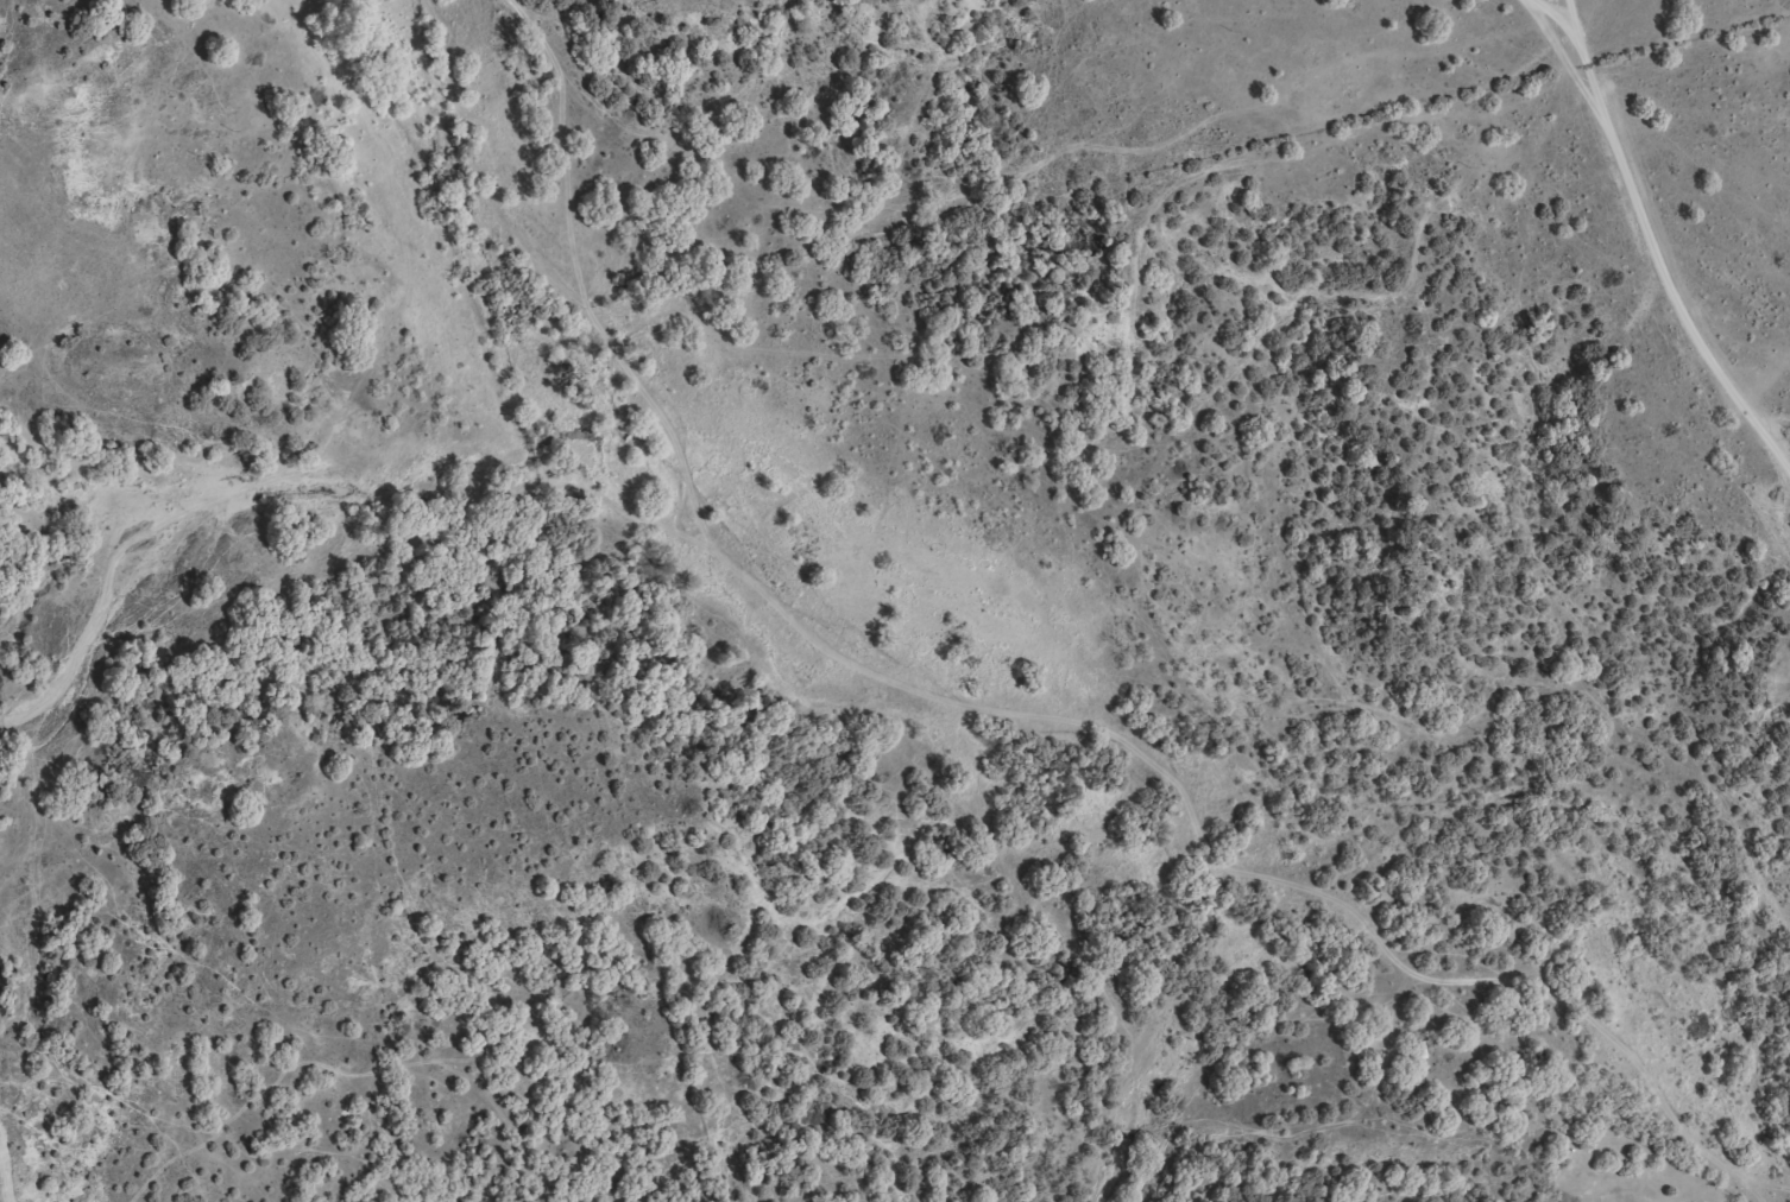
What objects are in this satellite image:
road: (1574, 21)
road: (1651, 243)

